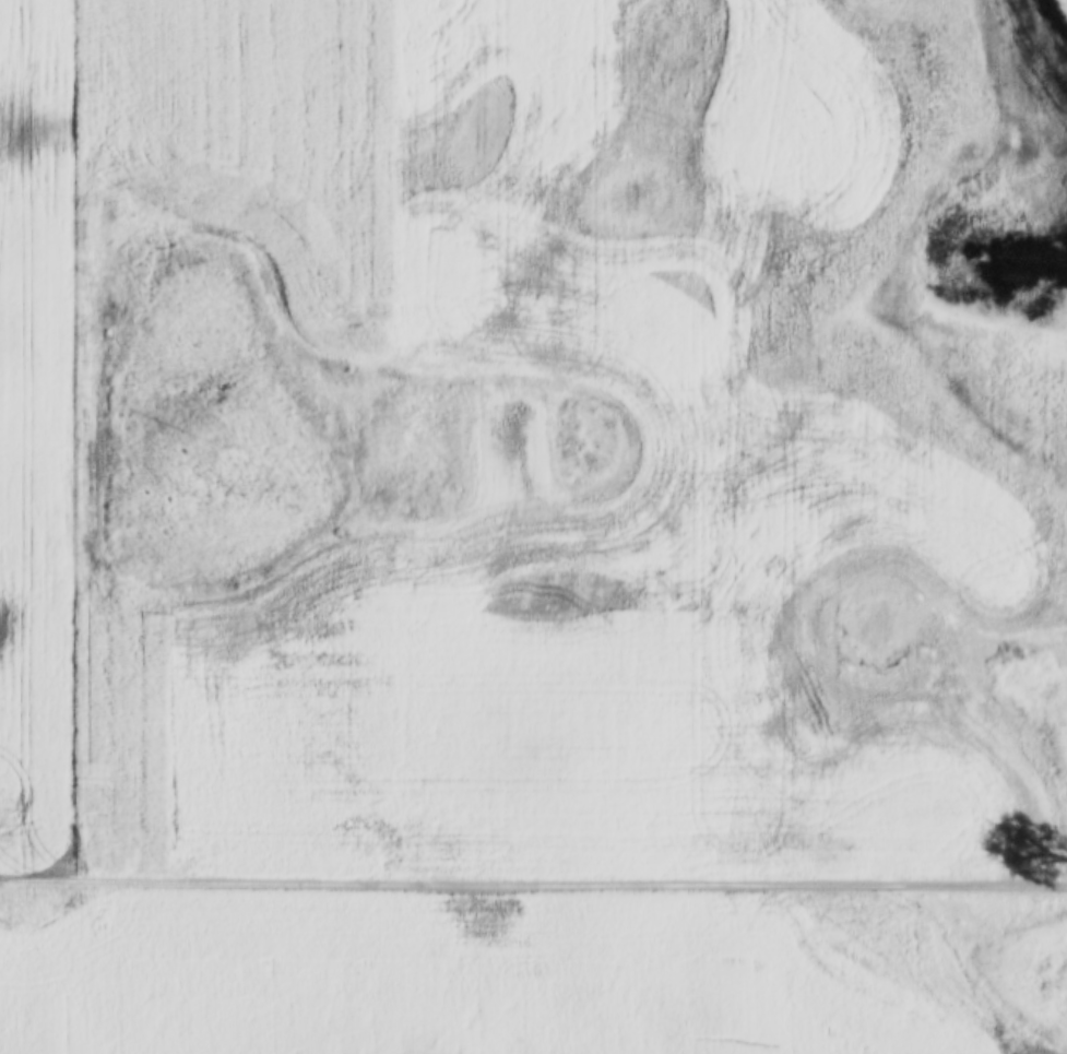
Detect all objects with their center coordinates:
power tower: (215, 439)
road: (533, 877)

